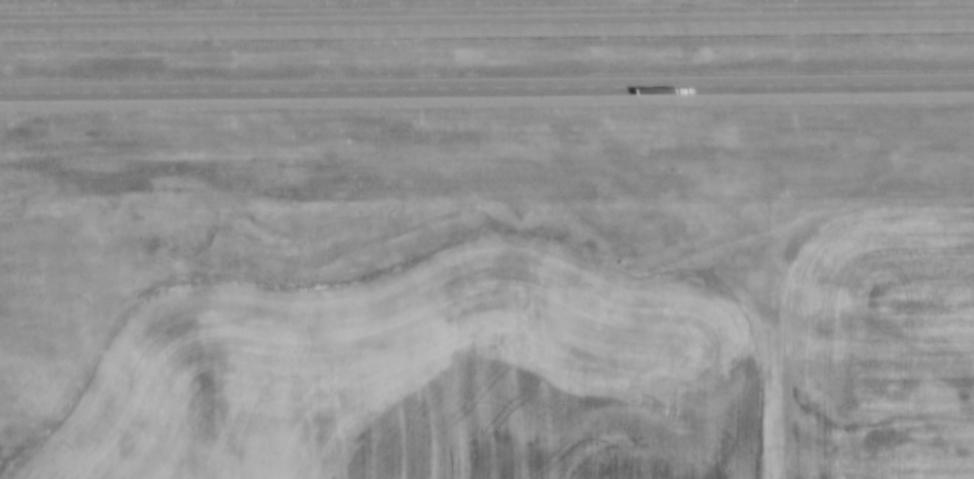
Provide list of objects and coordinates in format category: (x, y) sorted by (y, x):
road: (487, 22)
road: (487, 90)

